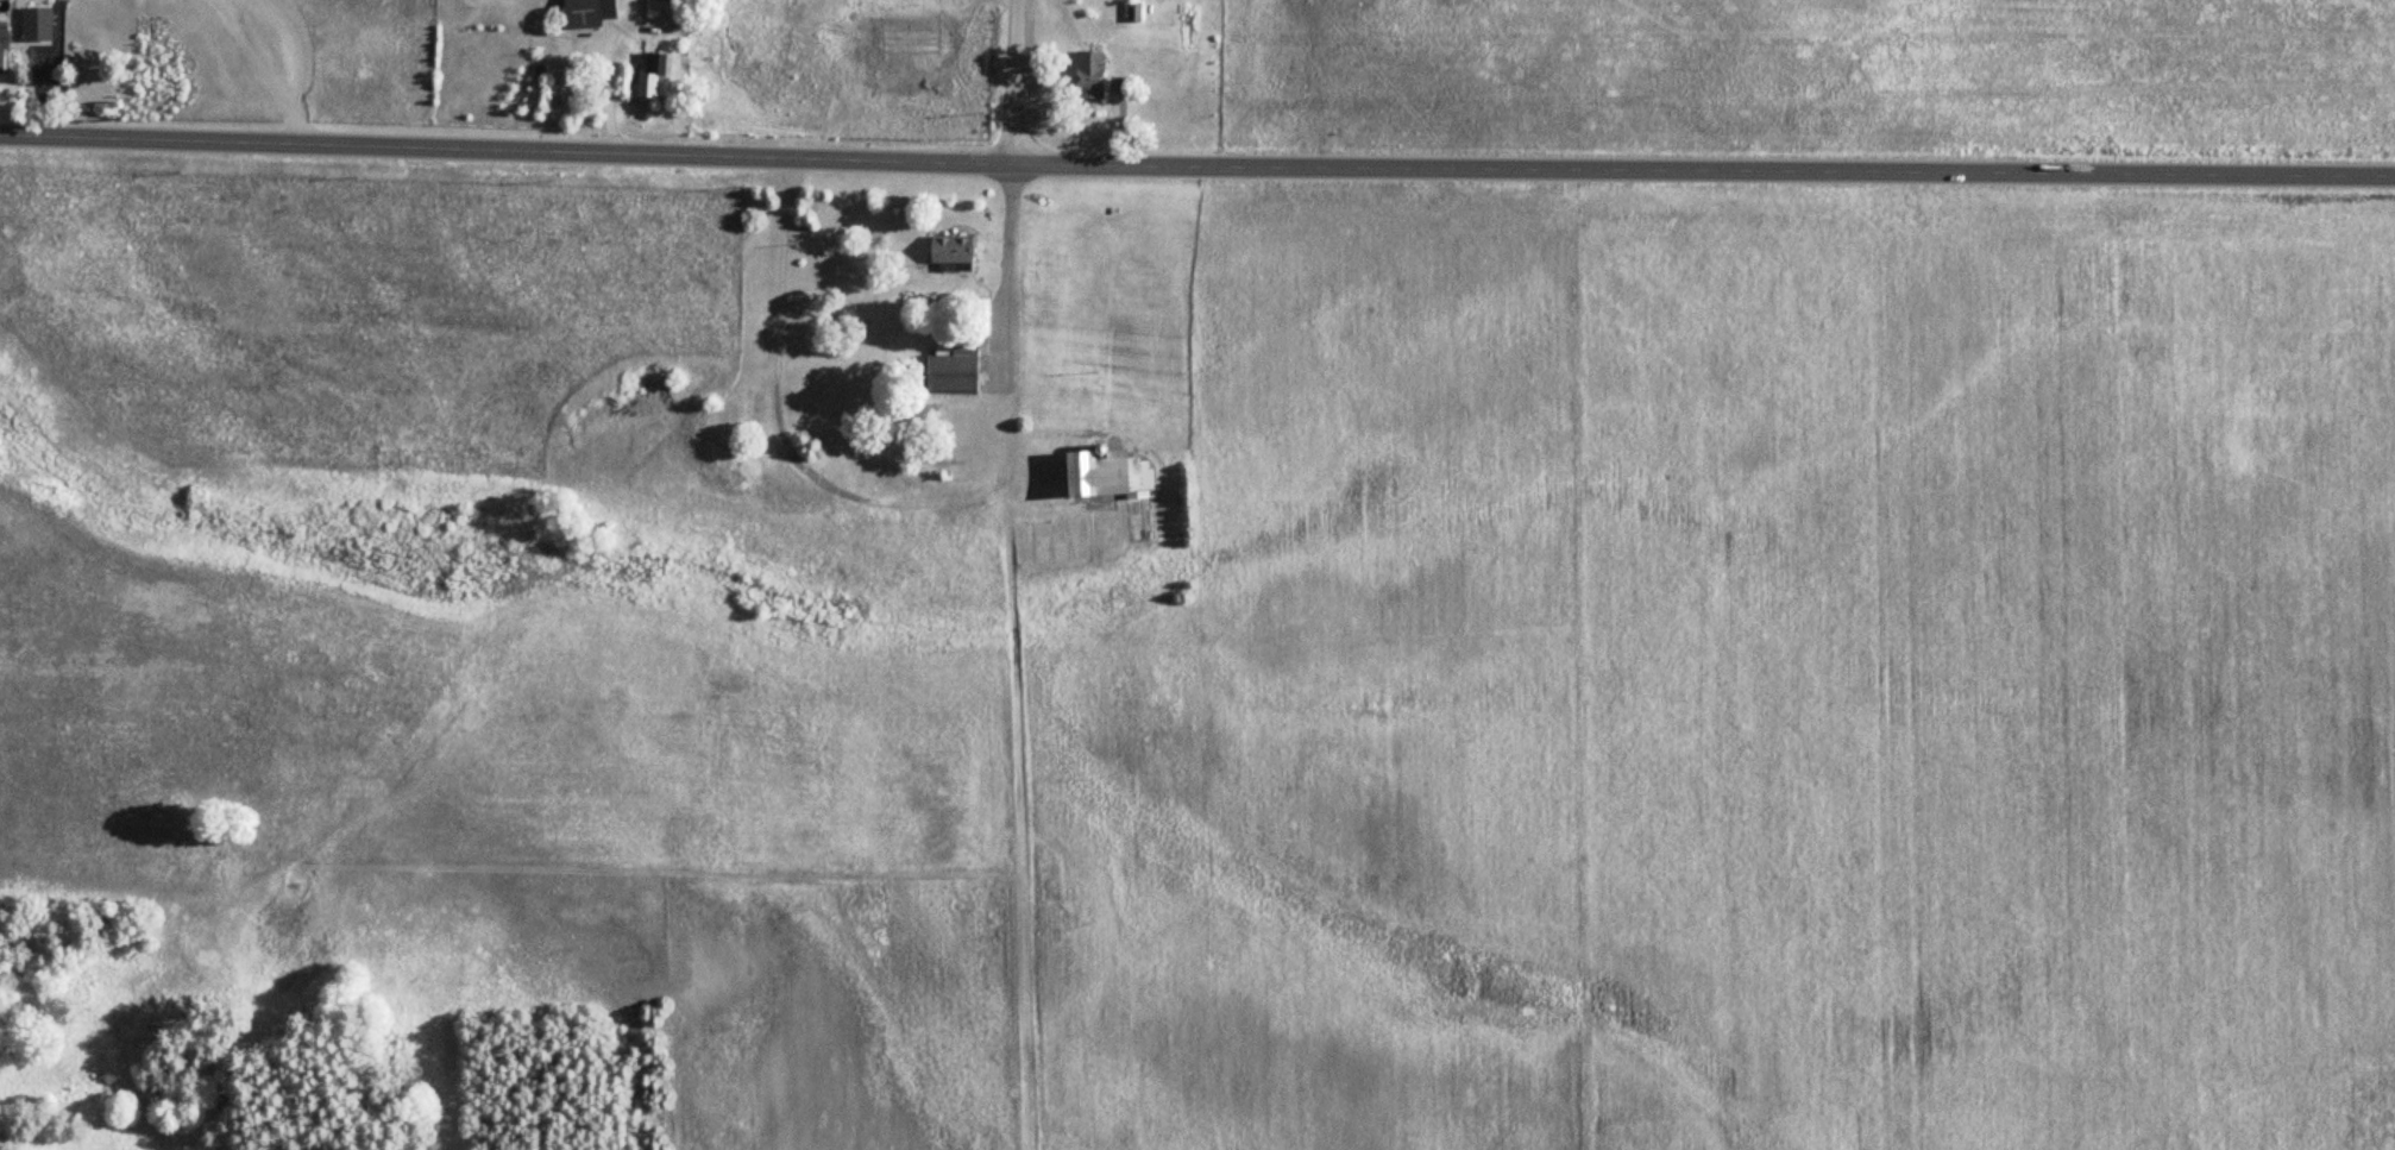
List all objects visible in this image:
building: (1131, 12)
building: (584, 13)
building: (32, 23)
building: (0, 26)
building: (1085, 75)
building: (646, 76)
road: (1016, 81)
road: (1196, 164)
building: (944, 250)
building: (953, 354)
building: (1102, 473)
building: (1074, 547)
crop: (1743, 695)
building: (1049, 880)

